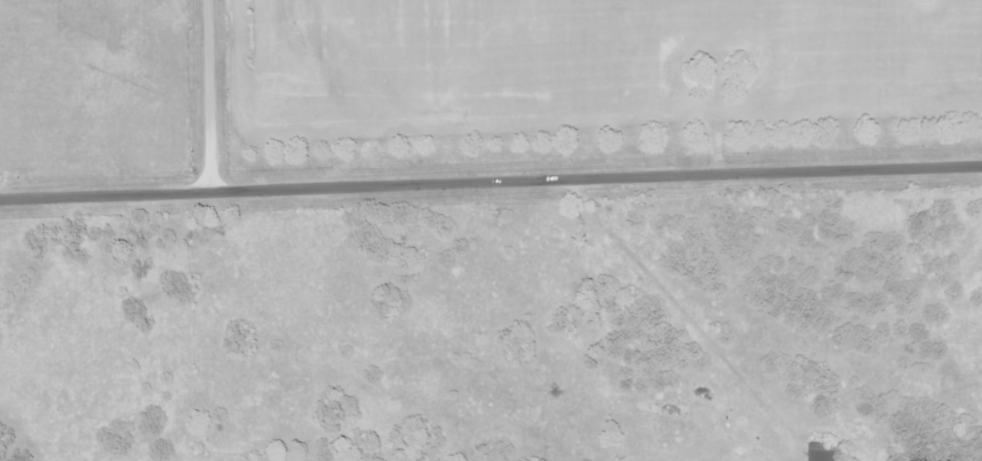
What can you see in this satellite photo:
road: (209, 94)
road: (490, 180)

